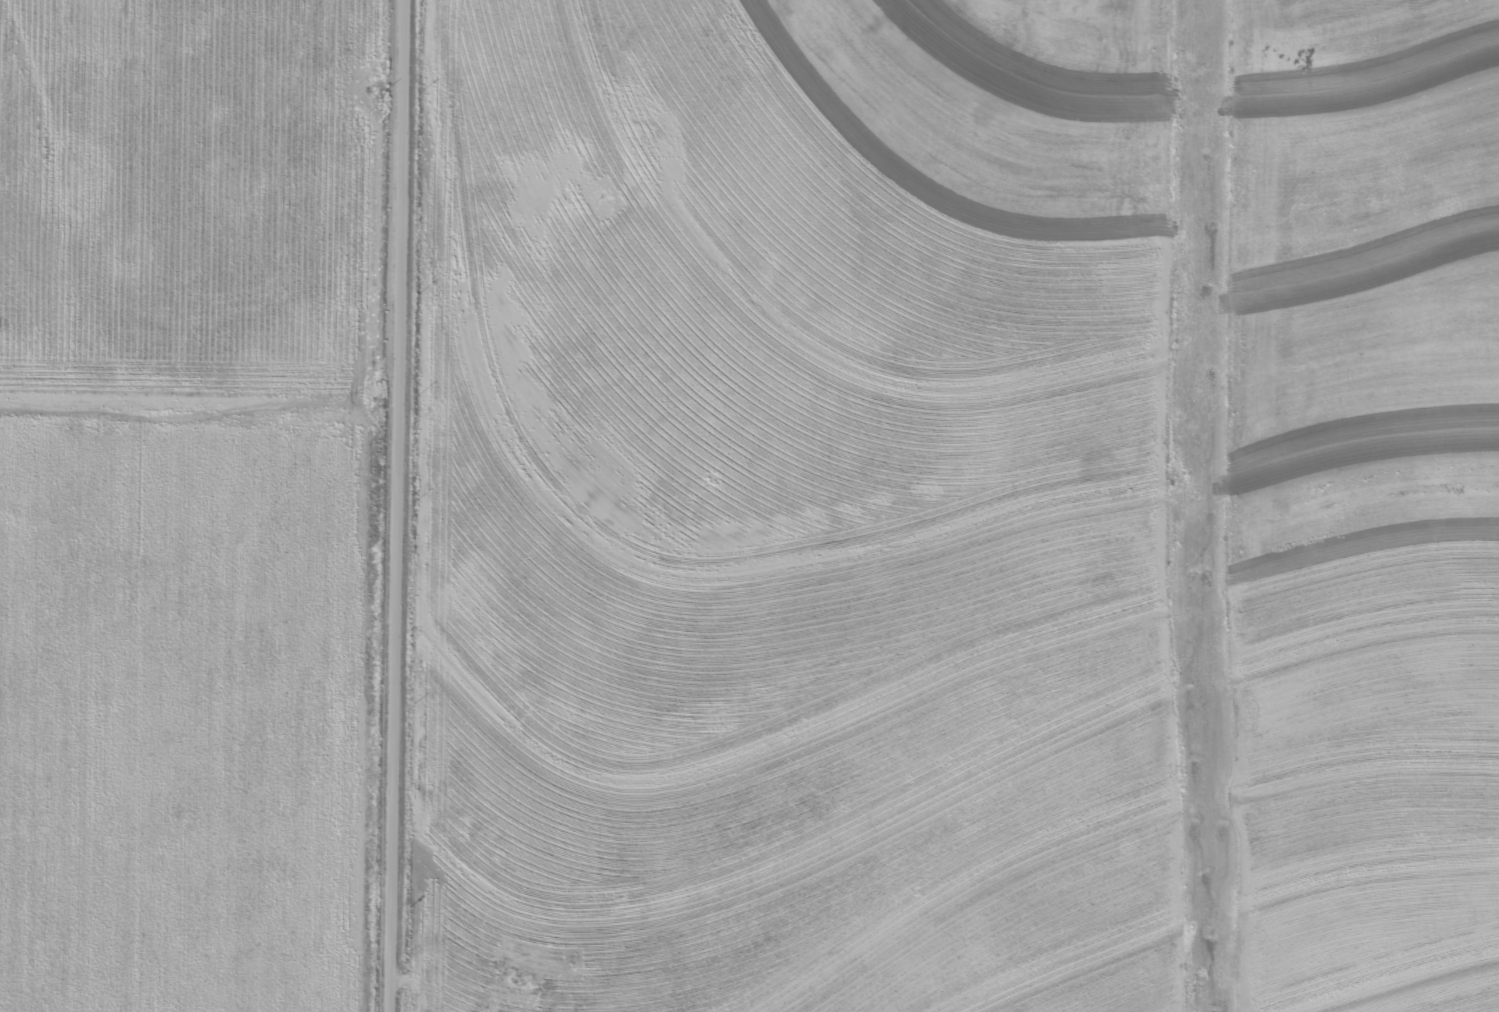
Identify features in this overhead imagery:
road: (399, 505)

